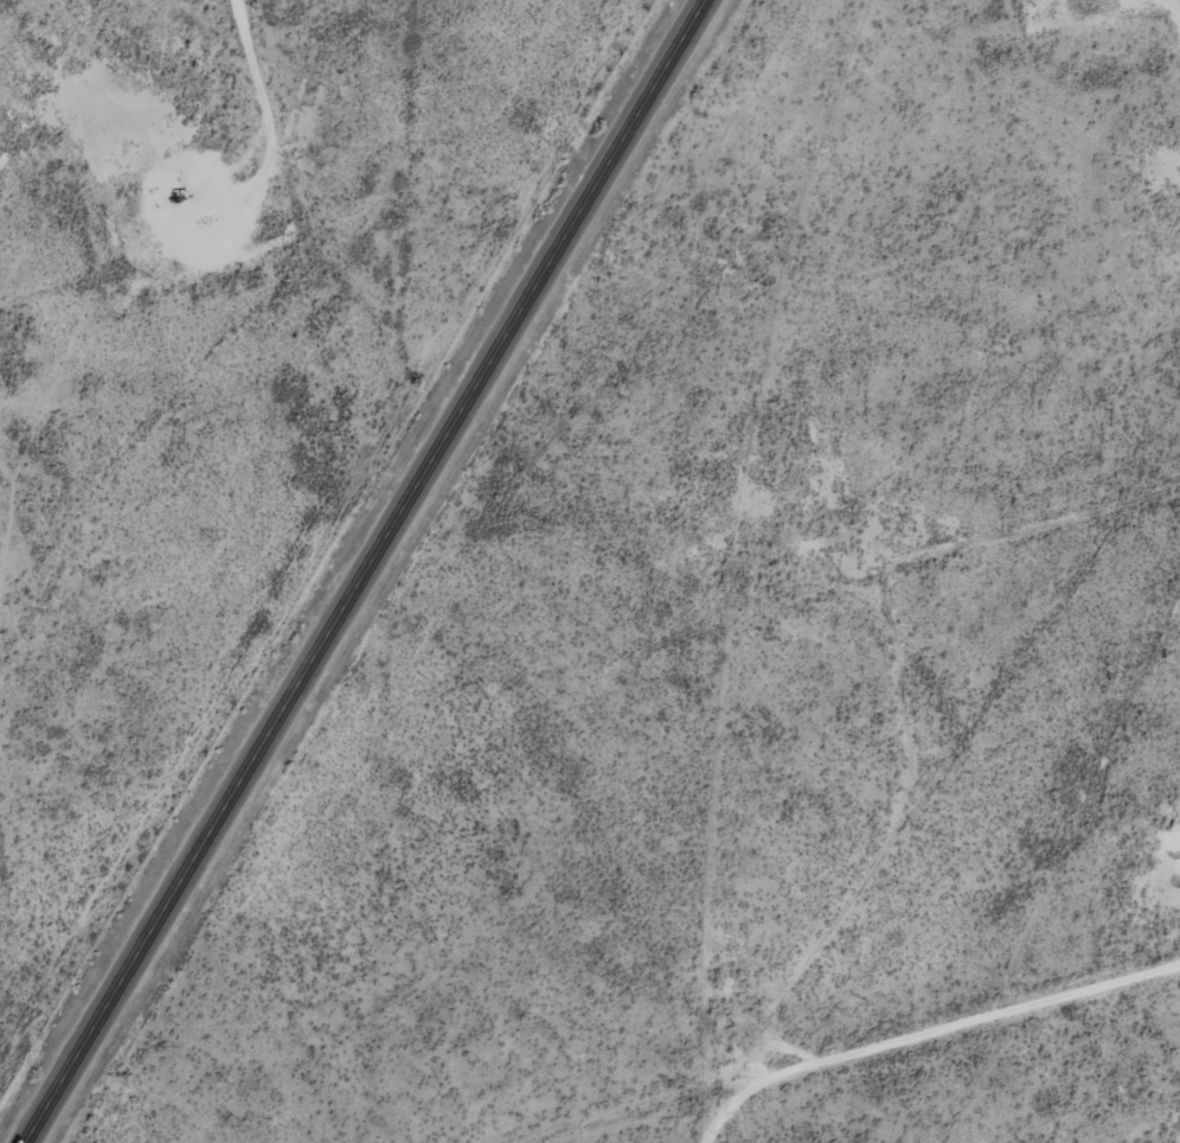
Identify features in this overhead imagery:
road: (220, 180)
road: (371, 571)
road: (905, 1069)

